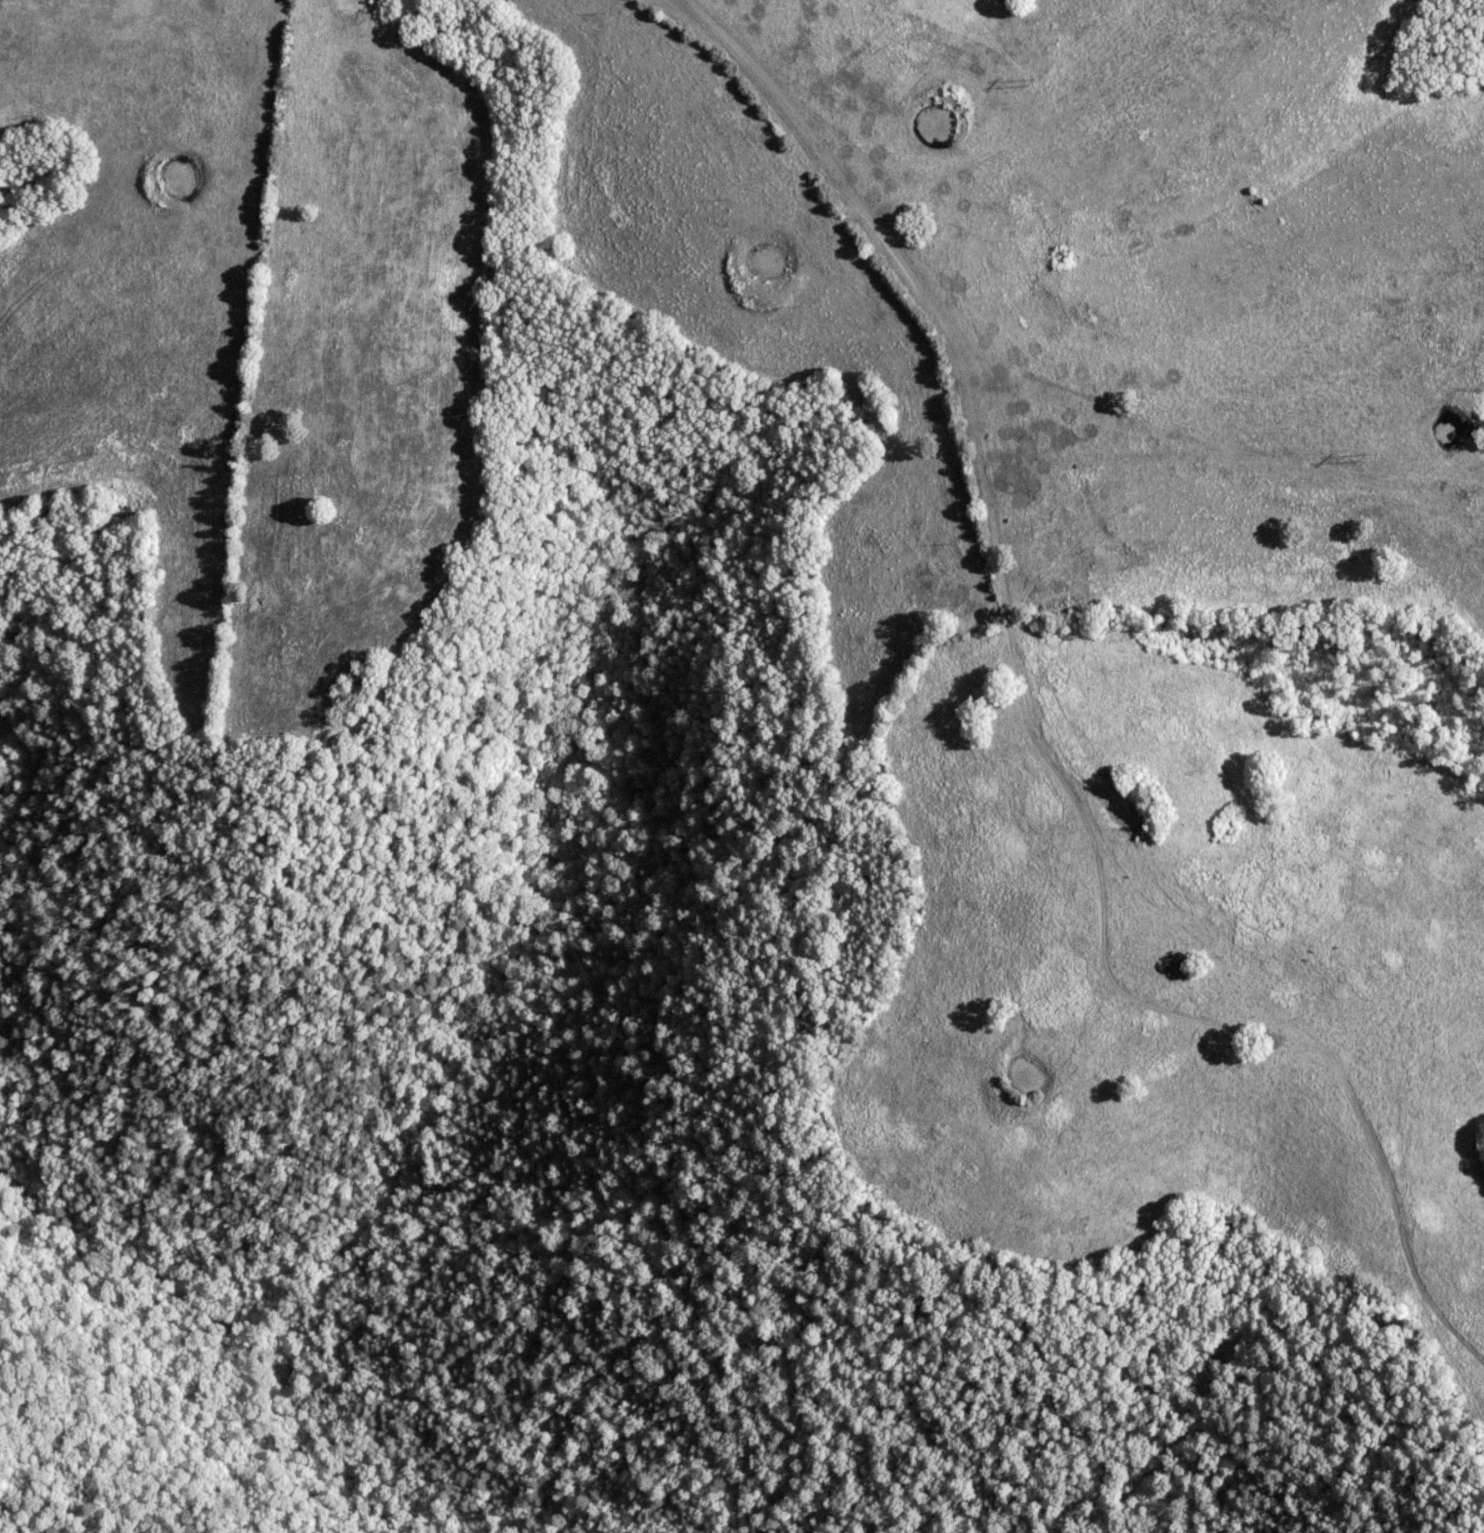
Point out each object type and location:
power tower: (1033, 82)
power tower: (1363, 459)

